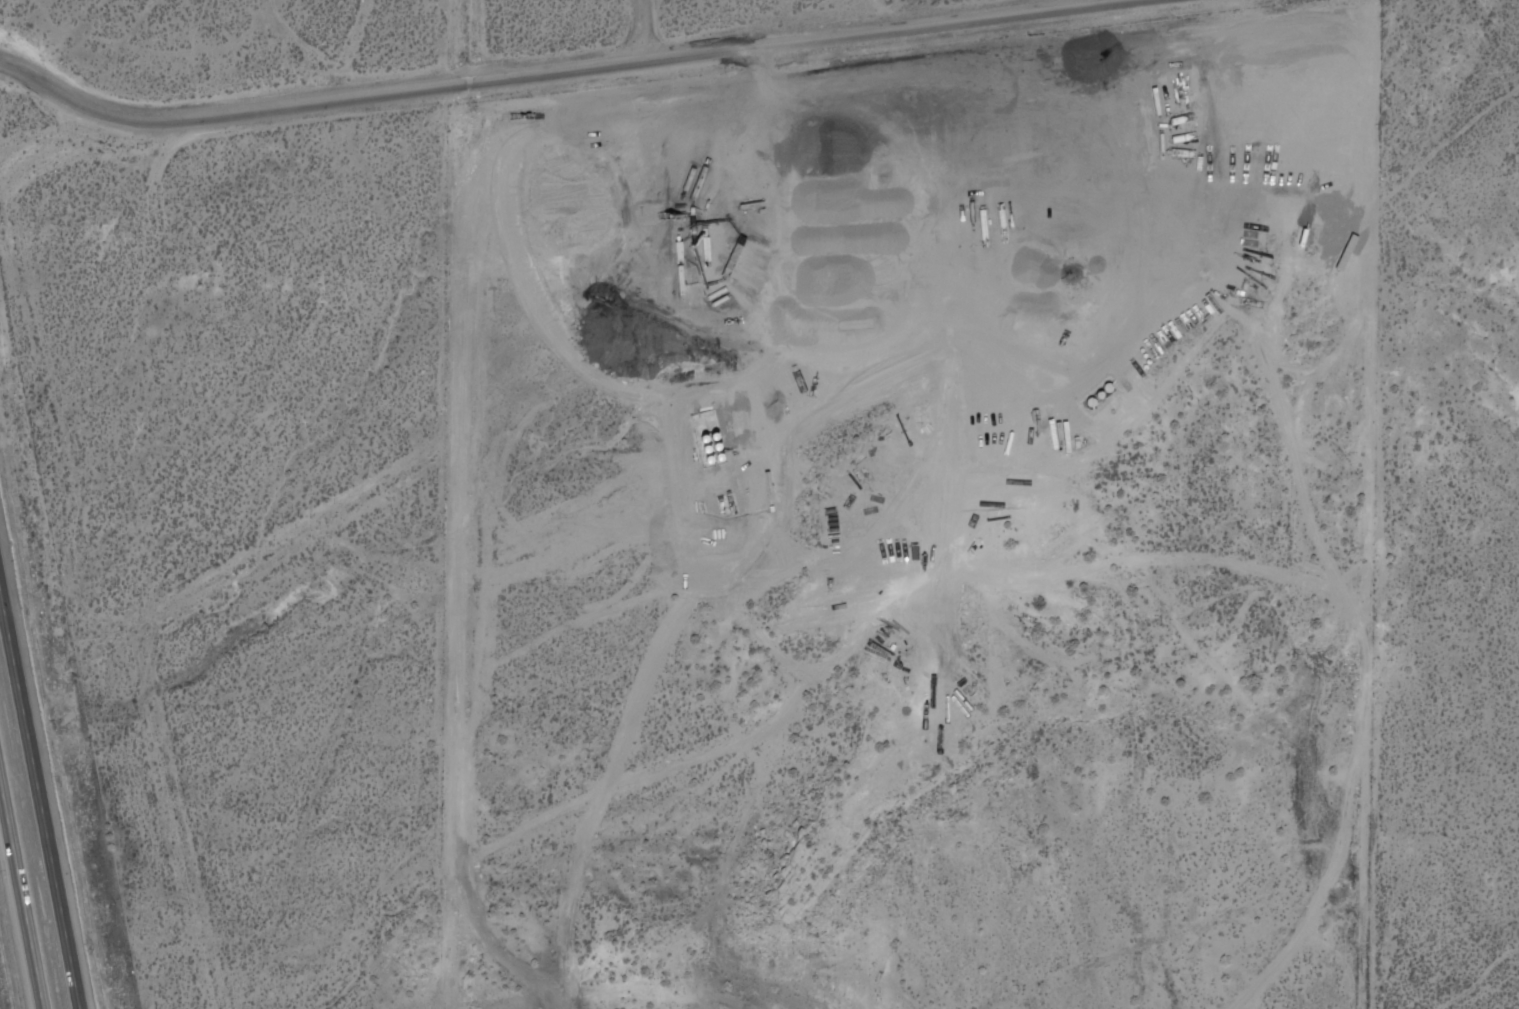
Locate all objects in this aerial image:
road: (655, 32)
road: (565, 68)
road: (464, 544)
road: (42, 779)
road: (21, 894)

